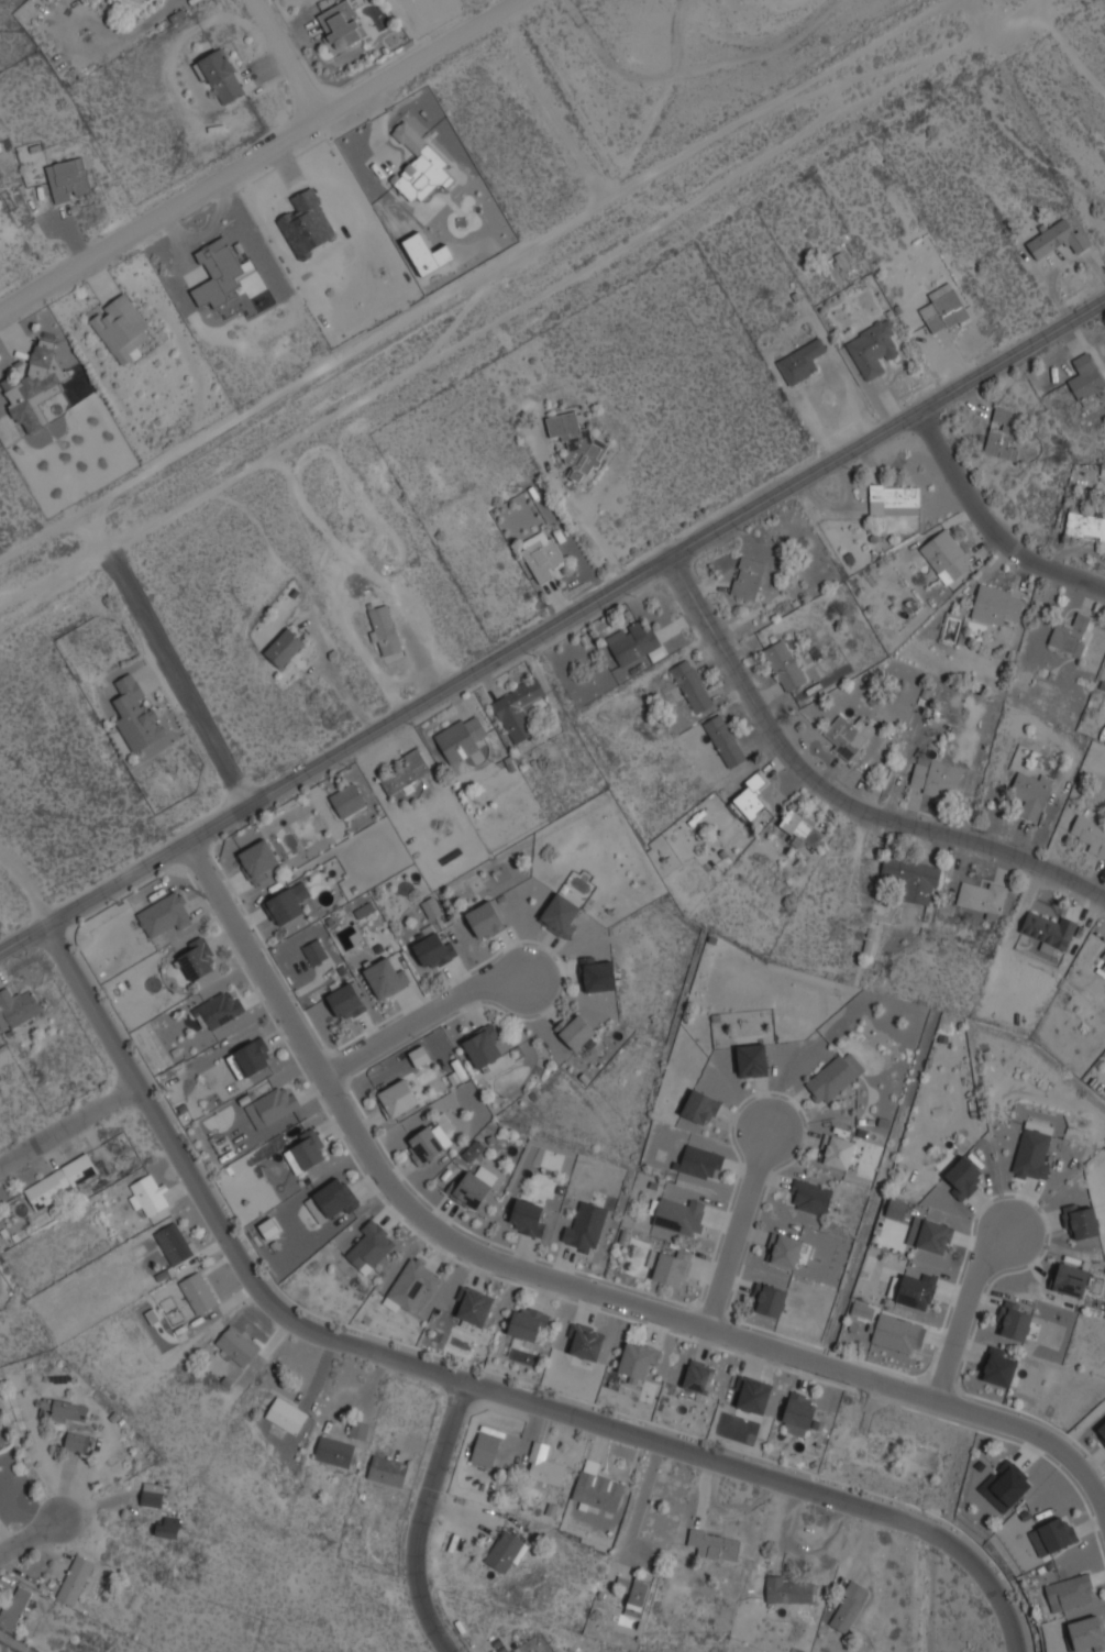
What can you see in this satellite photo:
building: (145, 1)
building: (341, 24)
road: (284, 57)
building: (221, 75)
road: (257, 154)
building: (419, 165)
building: (69, 178)
building: (1058, 239)
building: (218, 274)
road: (516, 308)
building: (943, 308)
building: (120, 327)
building: (873, 348)
building: (802, 361)
building: (1085, 377)
building: (35, 387)
building: (1003, 434)
building: (578, 443)
building: (1103, 471)
building: (894, 498)
road: (990, 525)
building: (1085, 526)
building: (541, 553)
building: (947, 555)
building: (749, 577)
building: (997, 604)
road: (551, 624)
building: (385, 629)
building: (1071, 632)
building: (632, 646)
building: (285, 647)
building: (785, 665)
road: (187, 673)
building: (693, 685)
building: (518, 708)
building: (136, 714)
building: (848, 736)
building: (461, 738)
building: (726, 739)
building: (407, 771)
building: (935, 775)
road: (836, 790)
building: (1031, 792)
building: (750, 797)
building: (347, 801)
building: (803, 827)
building: (1091, 834)
building: (258, 860)
building: (911, 878)
building: (981, 897)
building: (287, 903)
building: (432, 907)
building: (165, 915)
building: (562, 915)
building: (485, 919)
building: (1049, 930)
building: (435, 950)
building: (316, 951)
building: (1103, 956)
building: (197, 958)
building: (1103, 960)
building: (1103, 968)
building: (387, 976)
building: (599, 977)
building: (345, 1002)
building: (16, 1007)
building: (219, 1009)
road: (422, 1017)
building: (576, 1031)
building: (484, 1047)
building: (251, 1058)
building: (751, 1059)
building: (835, 1077)
building: (397, 1098)
building: (272, 1105)
building: (700, 1106)
building: (290, 1117)
road: (68, 1124)
building: (428, 1143)
building: (473, 1150)
building: (839, 1152)
building: (1032, 1152)
building: (307, 1154)
building: (699, 1161)
building: (961, 1178)
building: (62, 1180)
building: (473, 1187)
building: (148, 1194)
building: (809, 1197)
building: (332, 1200)
building: (896, 1209)
building: (677, 1214)
building: (528, 1218)
building: (1083, 1222)
building: (586, 1227)
road: (737, 1230)
building: (933, 1236)
building: (174, 1243)
building: (369, 1246)
building: (786, 1251)
building: (673, 1267)
building: (1070, 1279)
road: (564, 1284)
building: (413, 1286)
building: (916, 1290)
building: (198, 1292)
building: (772, 1301)
building: (475, 1307)
building: (863, 1310)
road: (963, 1311)
building: (1015, 1320)
building: (527, 1322)
building: (899, 1333)
building: (588, 1342)
building: (236, 1346)
building: (639, 1359)
building: (999, 1366)
building: (700, 1376)
road: (460, 1380)
building: (754, 1395)
building: (65, 1410)
building: (798, 1413)
building: (287, 1414)
building: (358, 1430)
building: (1102, 1430)
building: (77, 1442)
building: (486, 1449)
building: (333, 1451)
building: (544, 1465)
building: (387, 1471)
building: (1005, 1486)
building: (598, 1488)
building: (152, 1495)
road: (420, 1518)
building: (168, 1527)
road: (27, 1531)
building: (1053, 1535)
building: (715, 1545)
building: (505, 1550)
building: (75, 1579)
building: (791, 1588)
building: (633, 1592)
building: (1070, 1593)
building: (14, 1606)
building: (849, 1606)
building: (1087, 1633)

